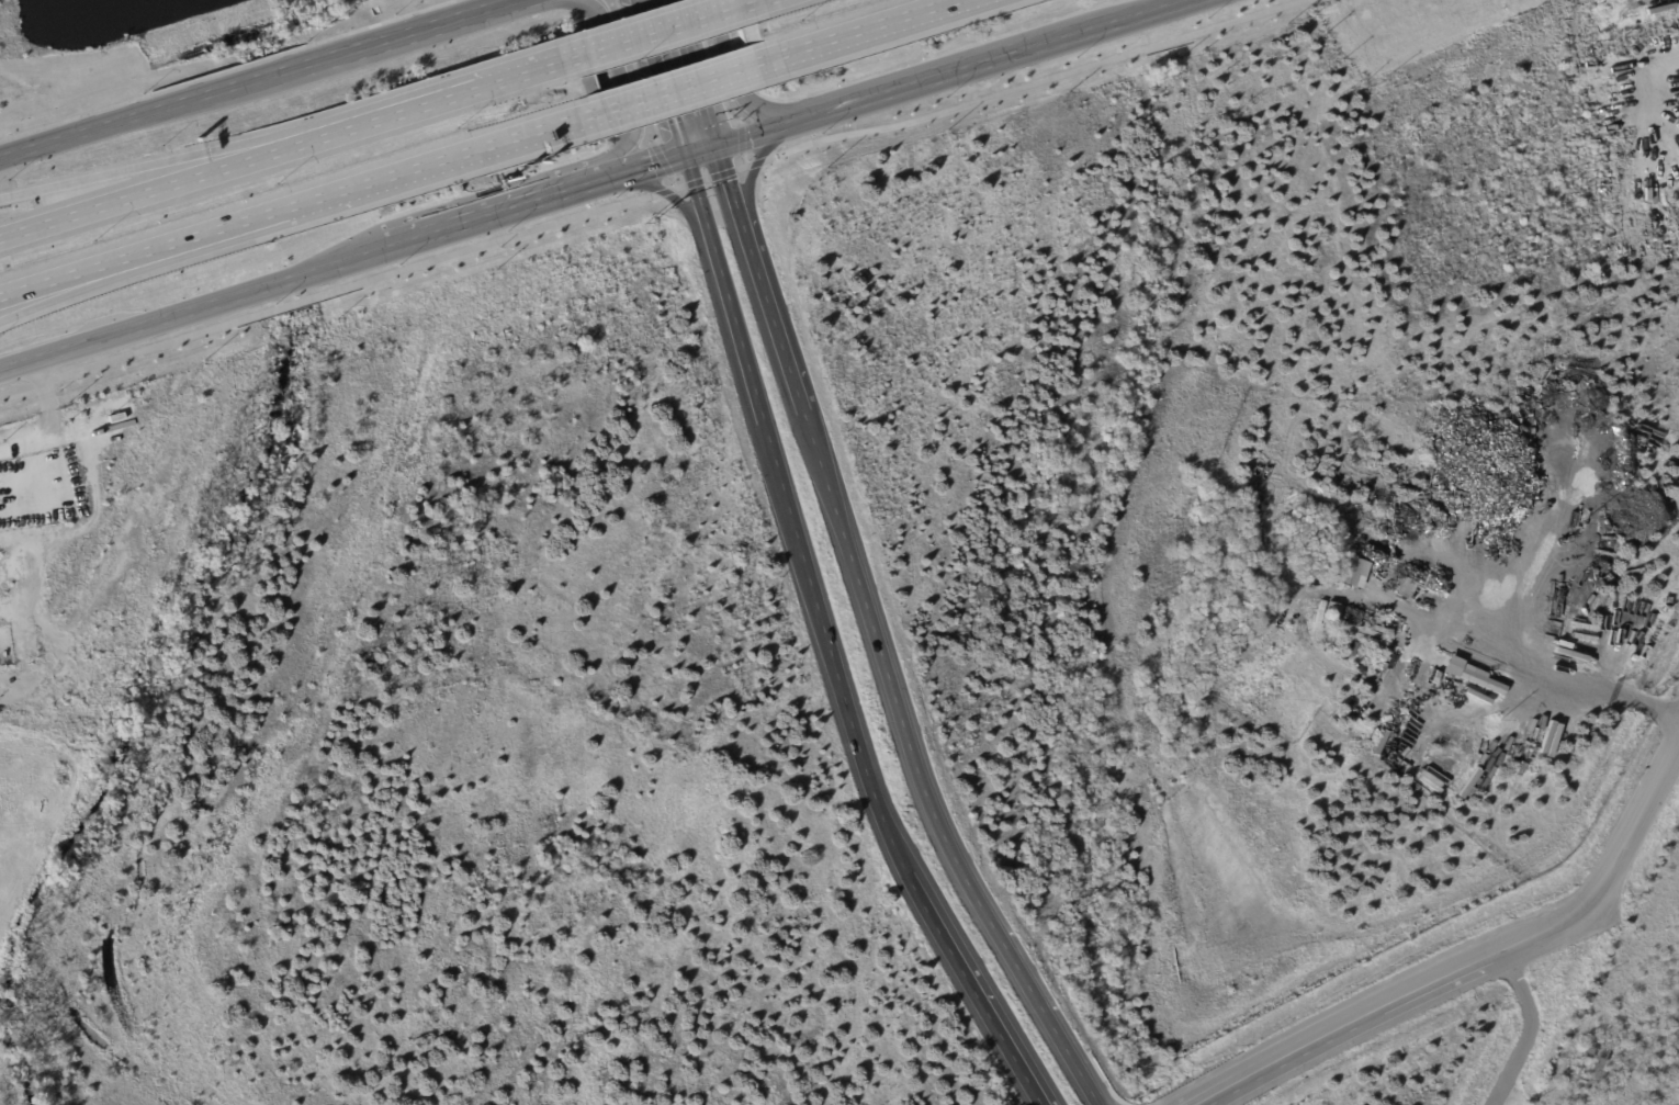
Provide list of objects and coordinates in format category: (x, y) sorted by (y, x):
road: (755, 3)
road: (667, 30)
road: (856, 31)
road: (410, 35)
road: (948, 70)
road: (698, 71)
road: (739, 76)
road: (658, 78)
road: (681, 84)
road: (486, 86)
road: (619, 87)
road: (150, 114)
traffic signals: (719, 143)
road: (699, 149)
road: (190, 154)
traffic signals: (680, 156)
road: (444, 158)
road: (756, 165)
road: (643, 168)
road: (191, 178)
road: (664, 188)
road: (654, 195)
road: (497, 215)
road: (236, 223)
road: (93, 268)
road: (93, 280)
road: (194, 312)
building: (129, 450)
building: (0, 464)
road: (97, 481)
building: (10, 568)
building: (1351, 572)
building: (1255, 582)
building: (1404, 589)
building: (1332, 611)
building: (1280, 631)
road: (875, 638)
building: (5, 640)
road: (826, 645)
building: (1470, 678)
road: (1556, 678)
building: (1174, 729)
road: (1479, 960)
road: (1526, 1028)
building: (1584, 1065)
road: (1501, 1102)

